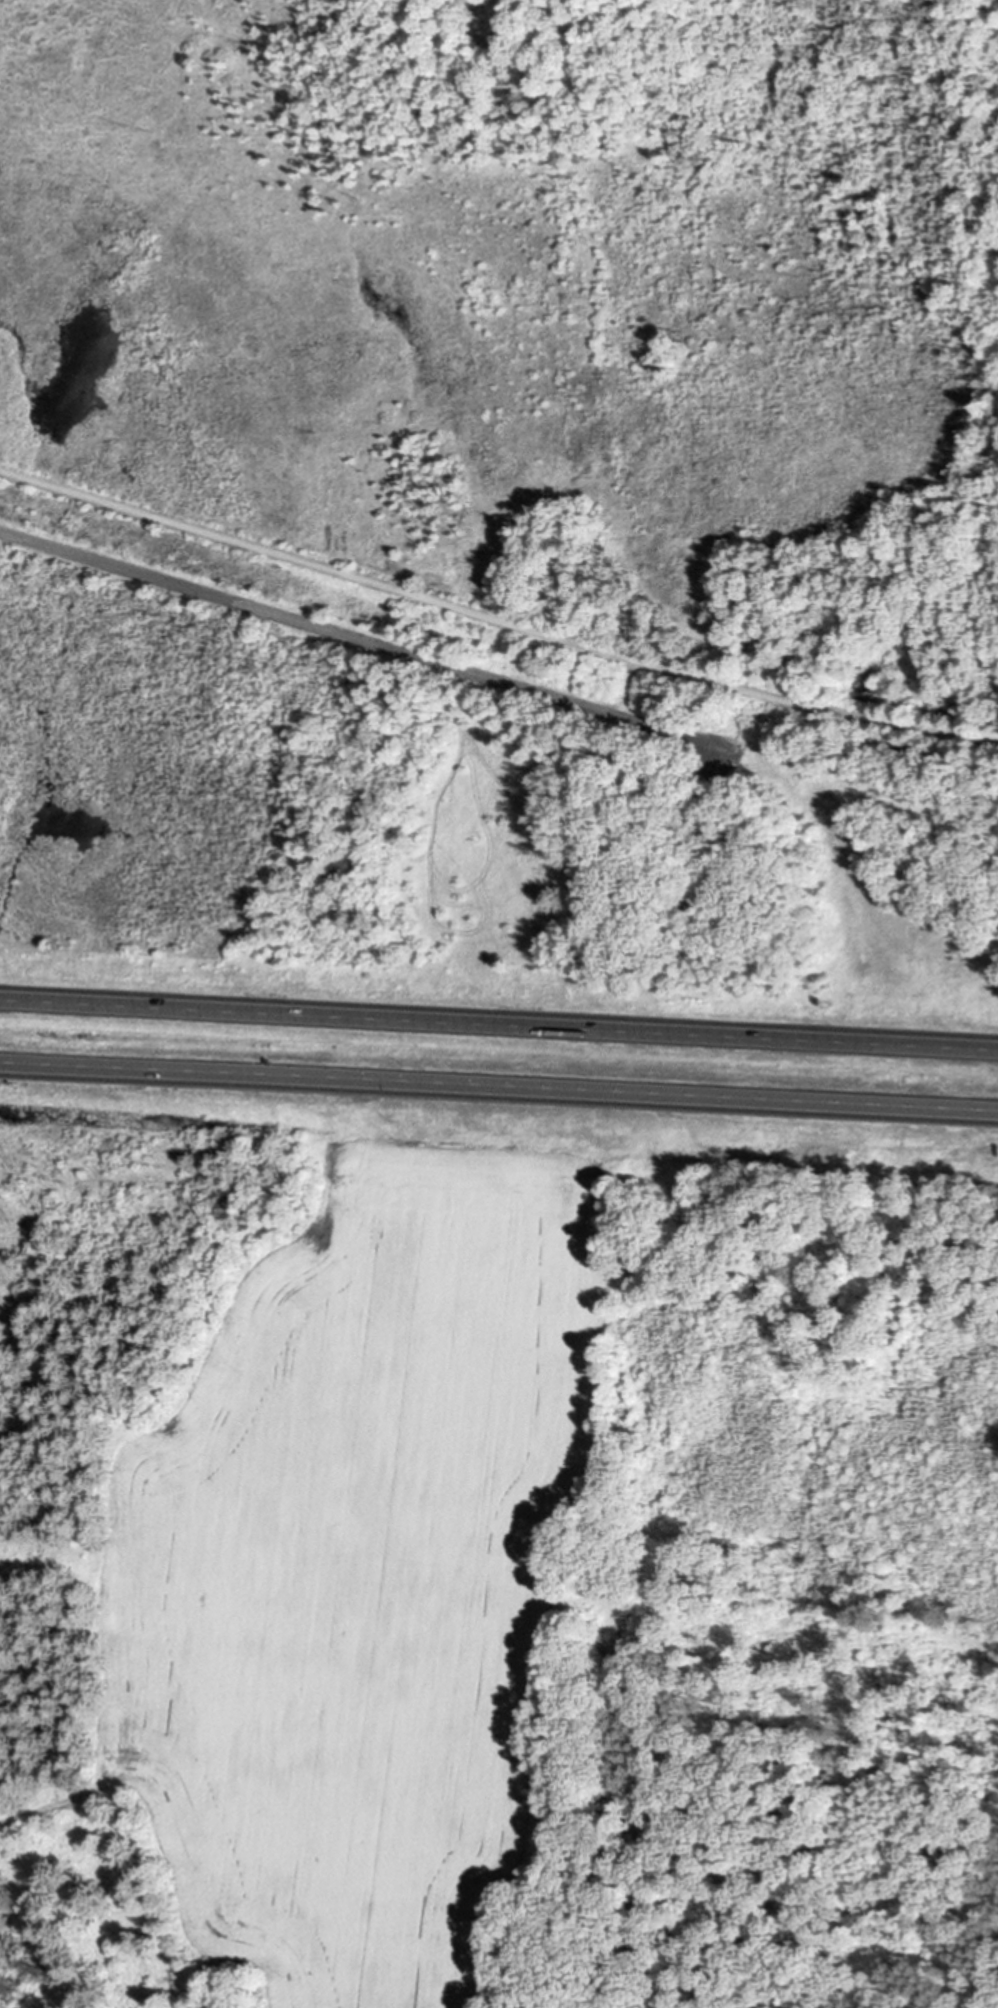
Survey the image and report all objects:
road: (291, 559)
road: (779, 580)
road: (309, 623)
road: (624, 689)
road: (789, 703)
parking lot: (620, 717)
road: (499, 1024)
road: (499, 1081)
crop: (371, 1564)

